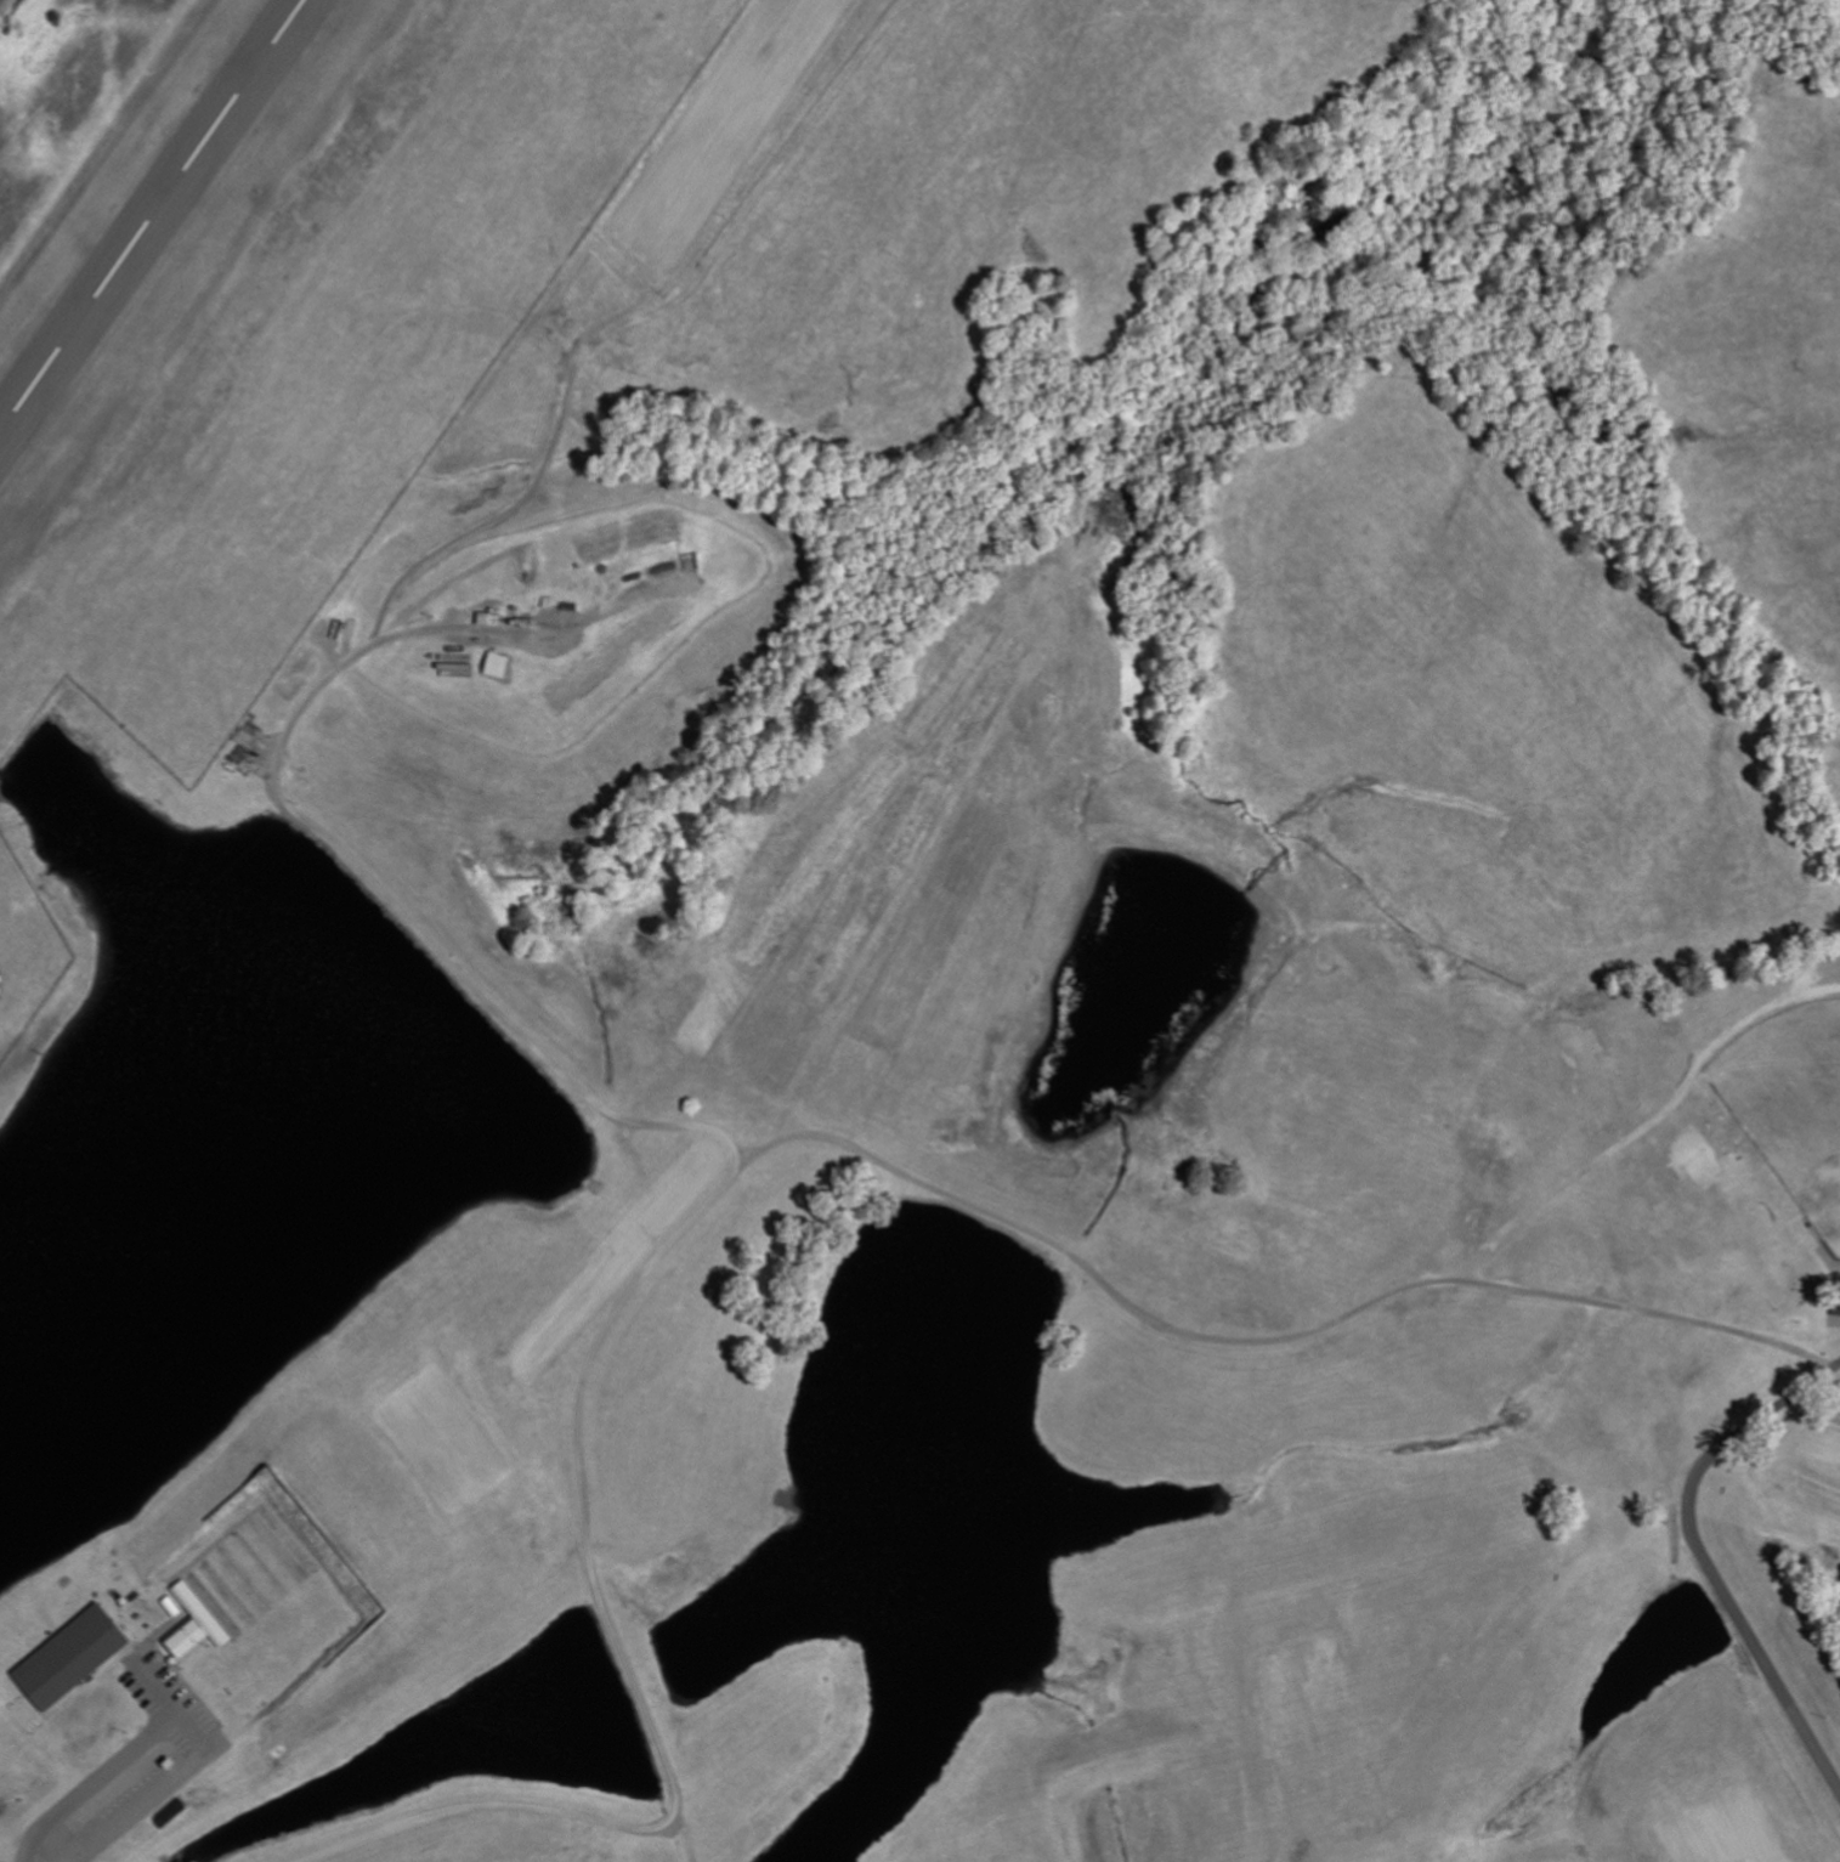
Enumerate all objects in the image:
airport runway: (153, 217)
airport: (270, 304)
road: (526, 499)
building: (503, 666)
road: (377, 879)
airport: (26, 950)
road: (676, 1240)
road: (1706, 1329)
road: (1703, 1557)
building: (202, 1625)
building: (78, 1658)
parking lot: (171, 1702)
road: (96, 1782)

